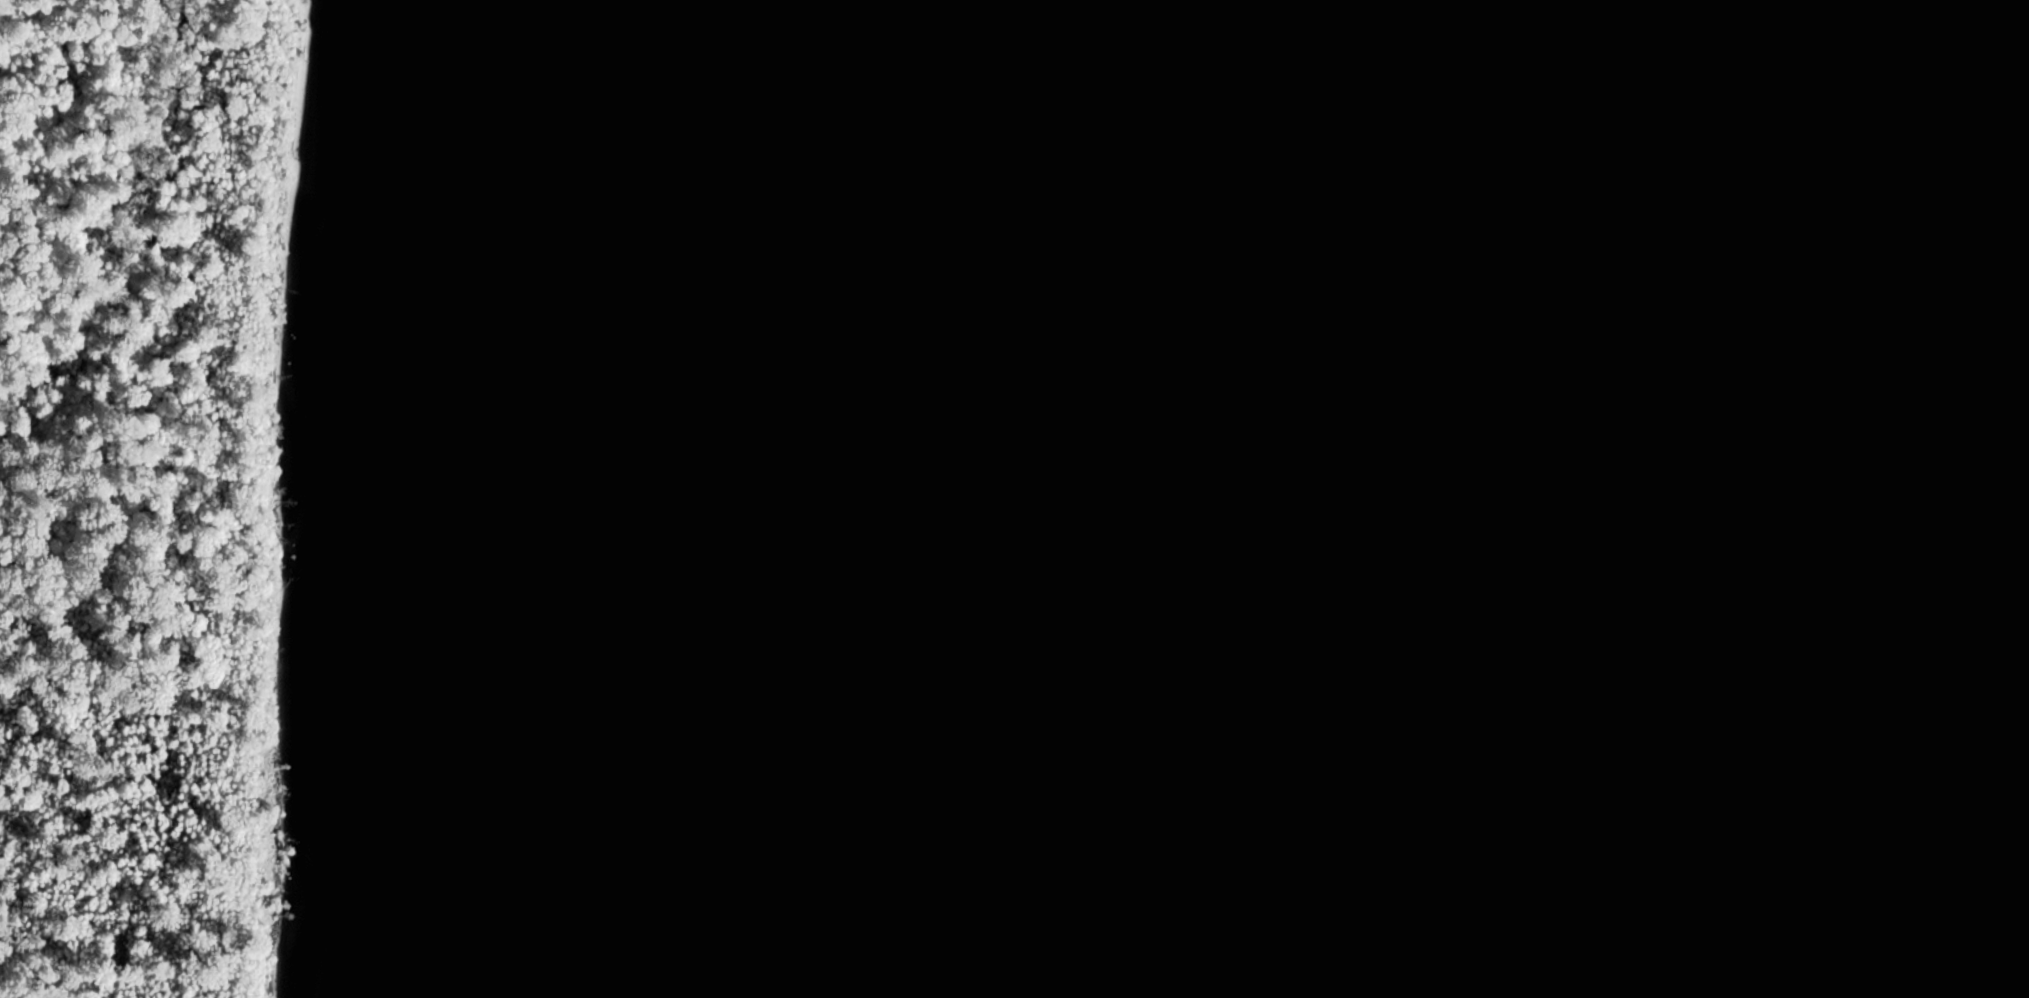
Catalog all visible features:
park: (258, 17)
park: (144, 499)

